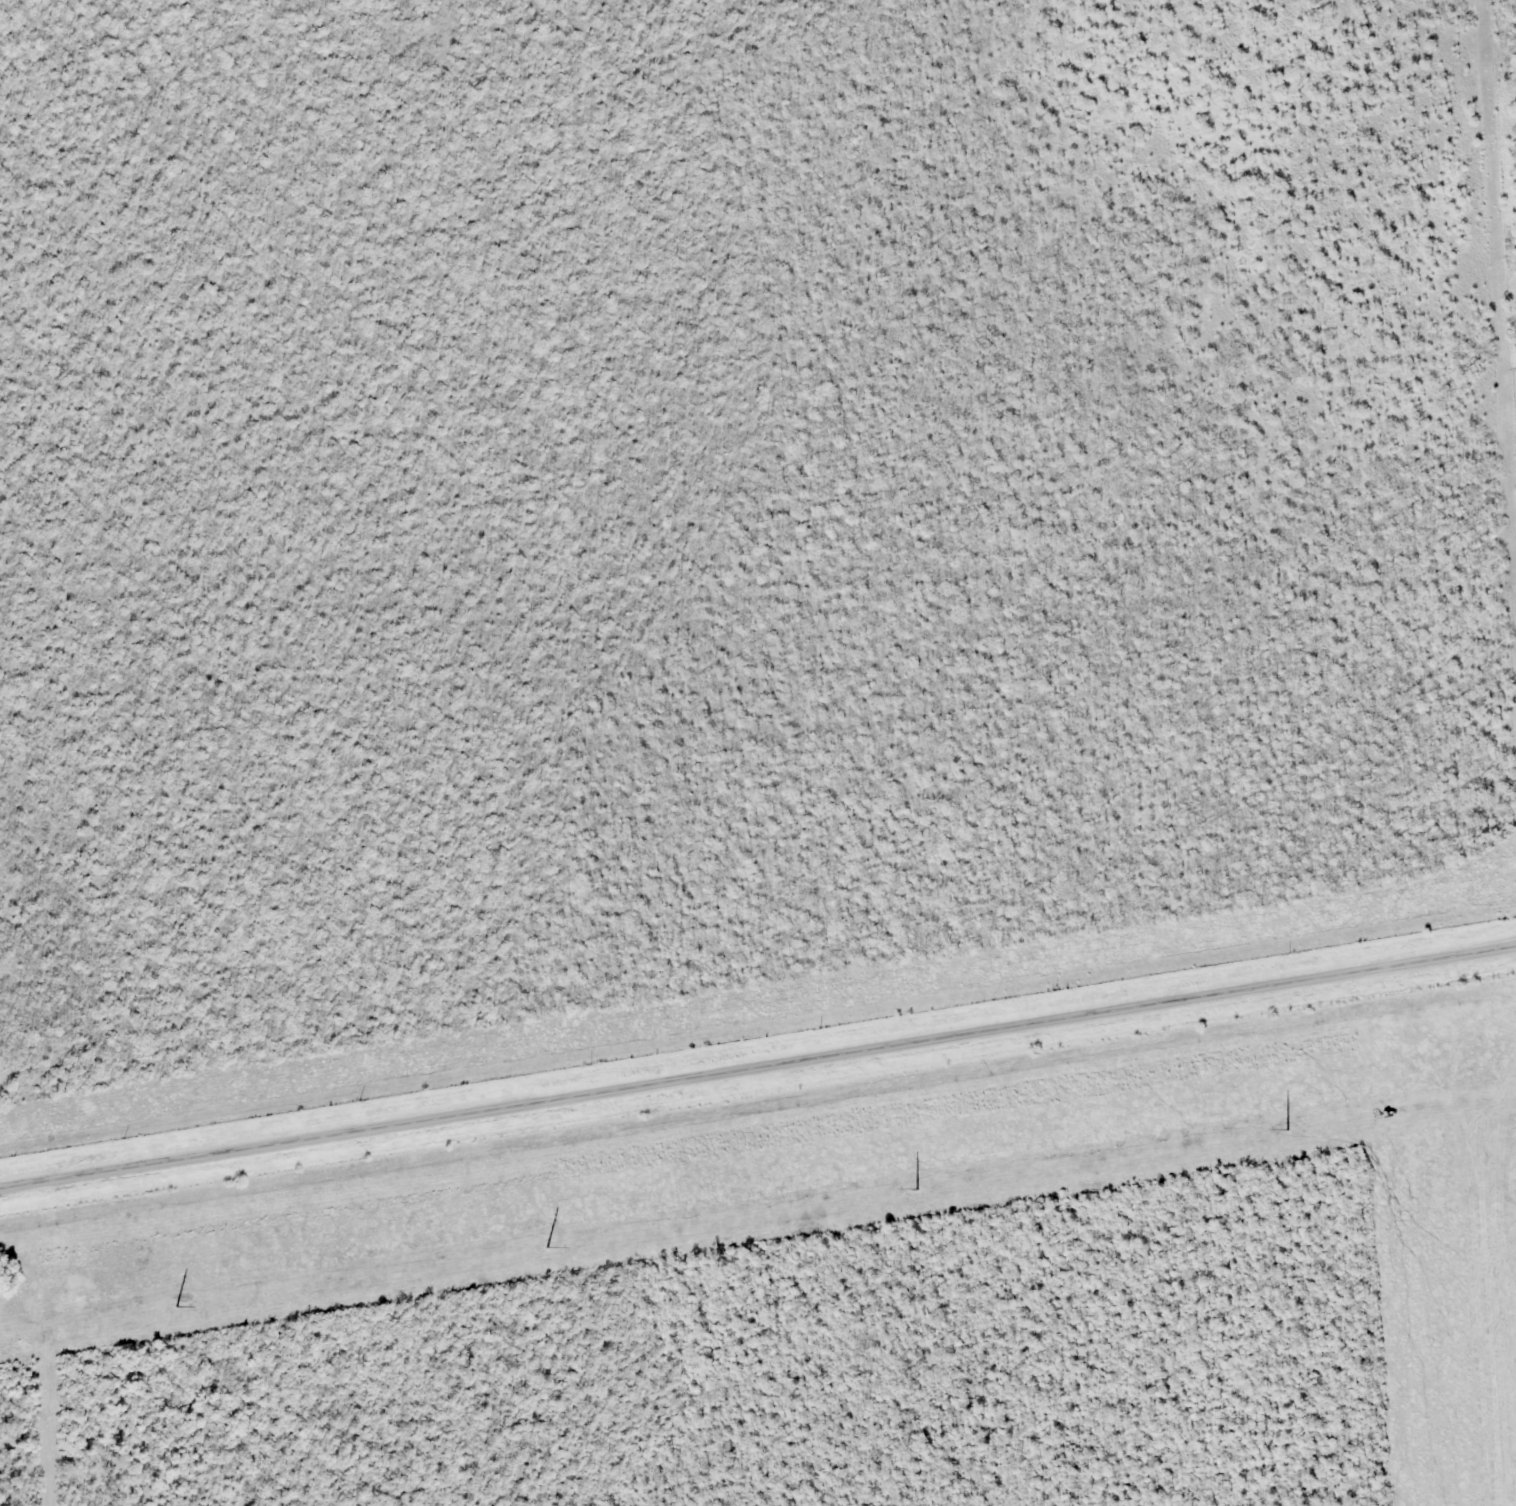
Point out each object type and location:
road: (758, 1068)
power tower: (1276, 1132)
power tower: (905, 1190)
power tower: (534, 1250)
power tower: (166, 1308)

